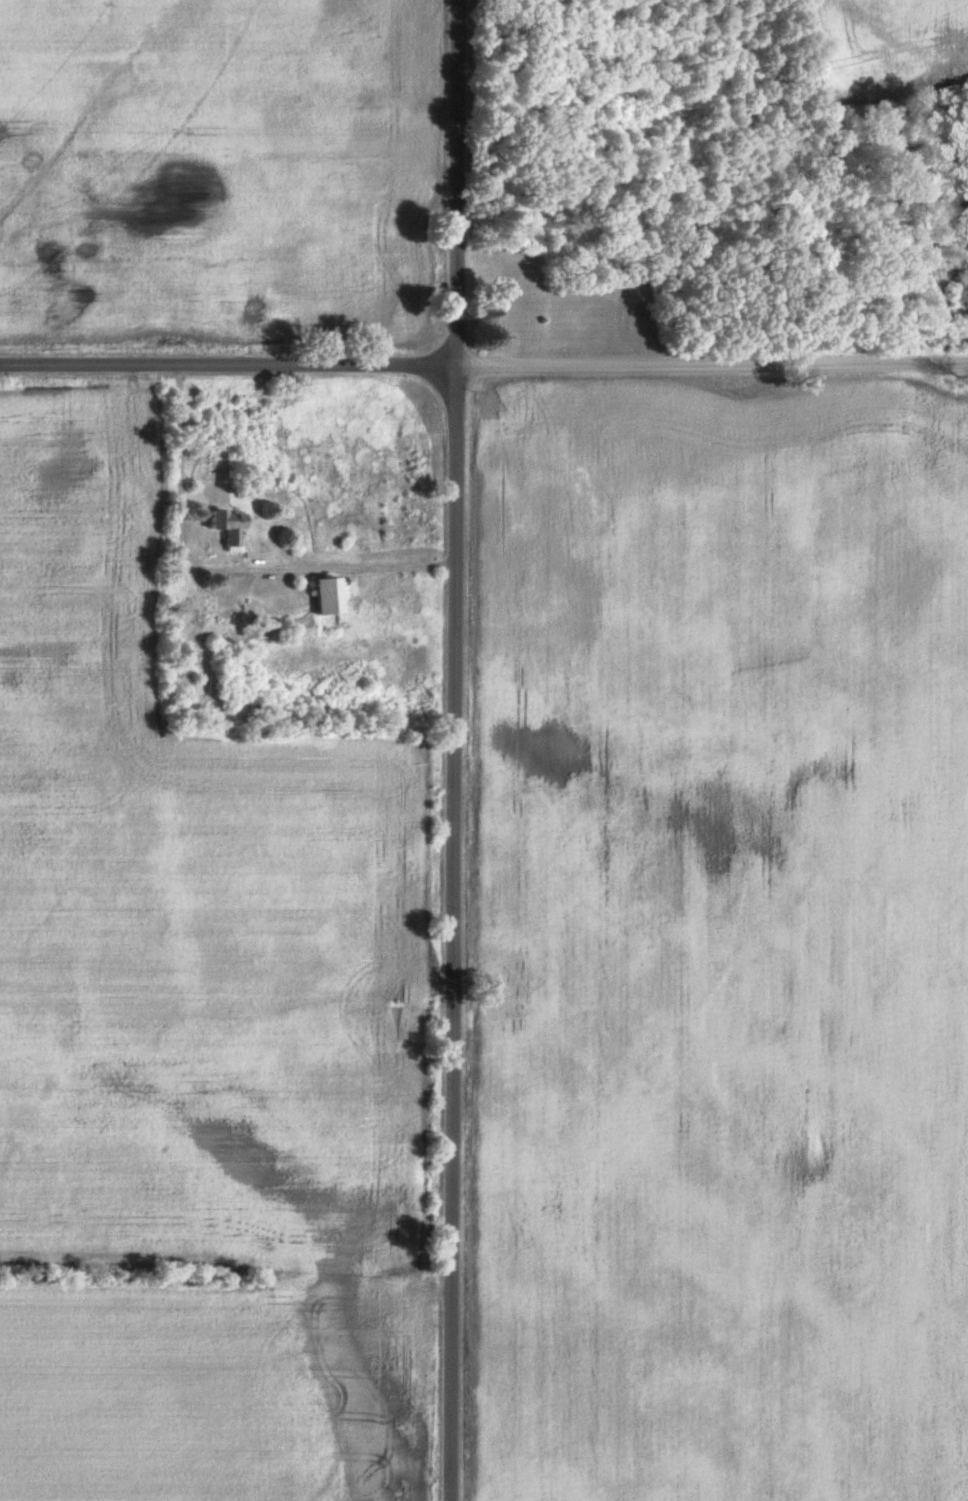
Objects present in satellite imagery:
road: (227, 365)
road: (711, 365)
building: (231, 523)
building: (333, 594)
road: (453, 750)

